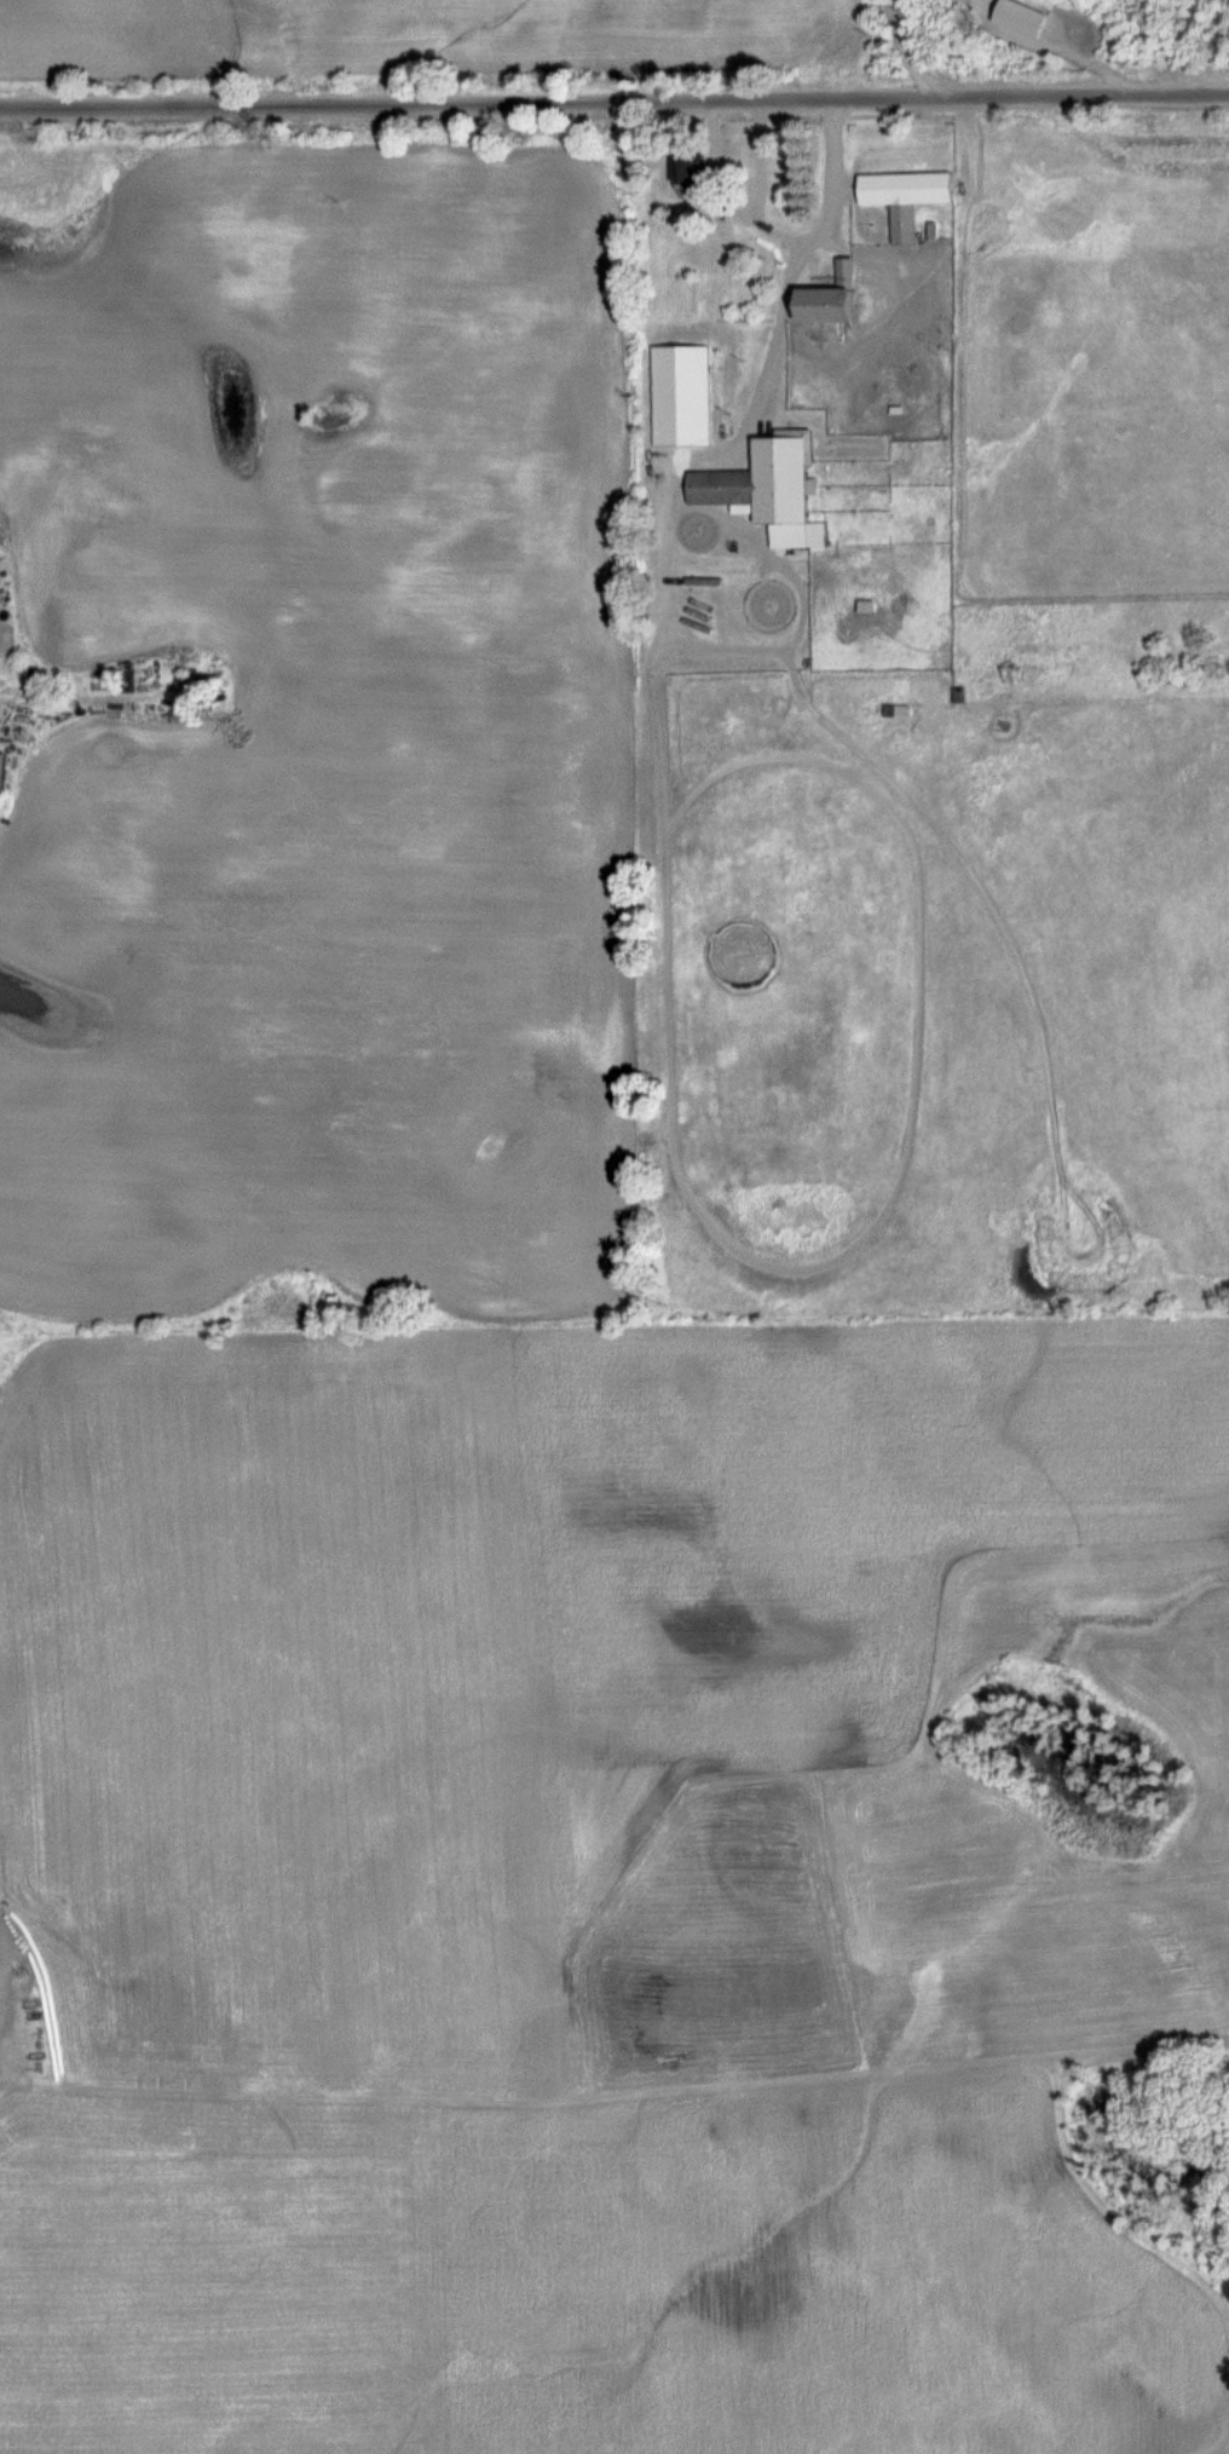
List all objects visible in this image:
road: (614, 103)
road: (761, 160)
building: (688, 178)
road: (722, 197)
building: (904, 225)
road: (795, 264)
building: (829, 299)
building: (768, 489)
building: (895, 713)
building: (2, 773)

